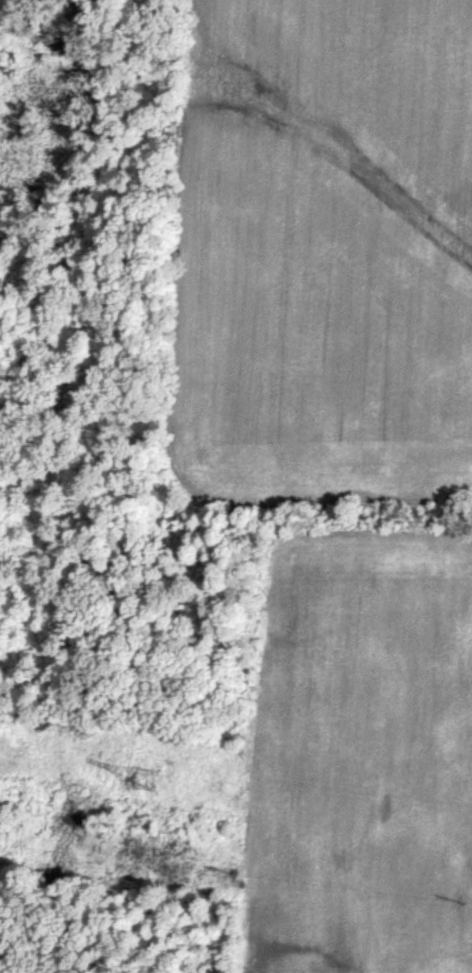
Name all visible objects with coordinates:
crop: (236, 486)
power tower: (143, 778)

